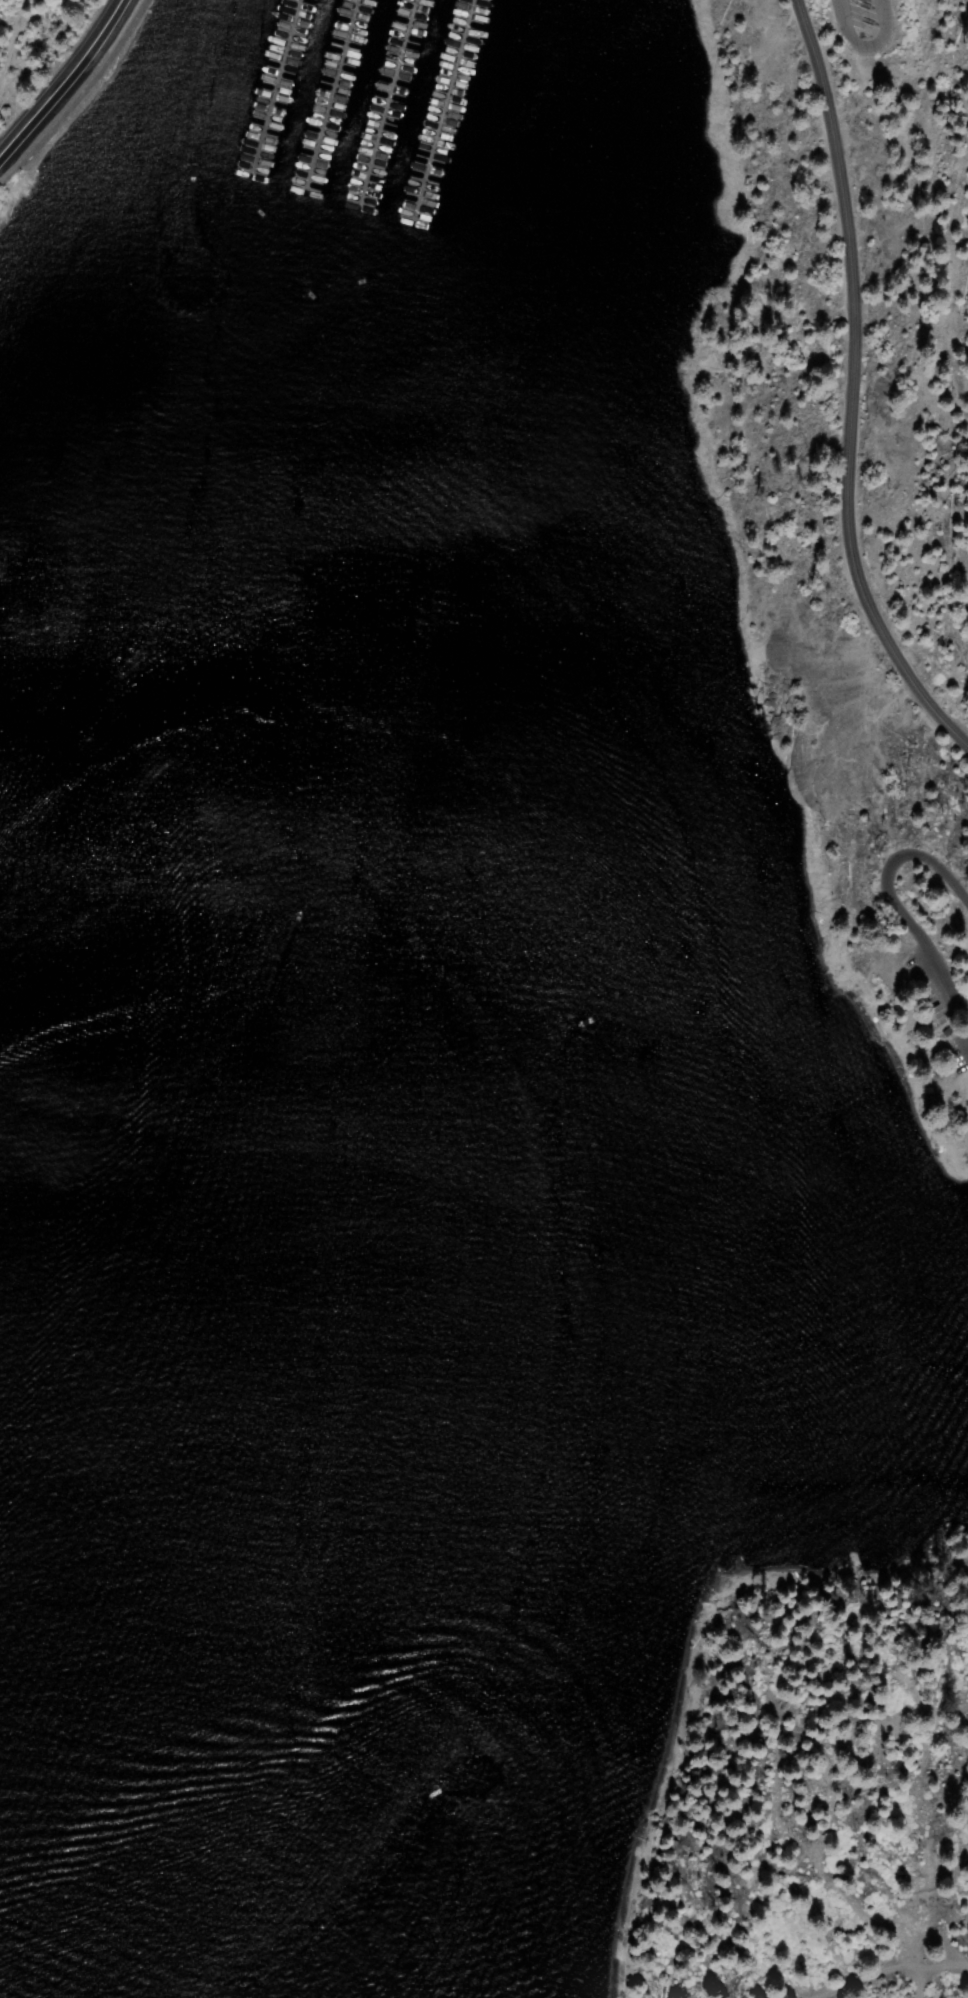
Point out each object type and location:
parking lot: (862, 13)
road: (9, 35)
road: (865, 47)
road: (56, 72)
pier: (267, 90)
pier: (322, 98)
pier: (378, 105)
pier: (434, 111)
road: (844, 393)

